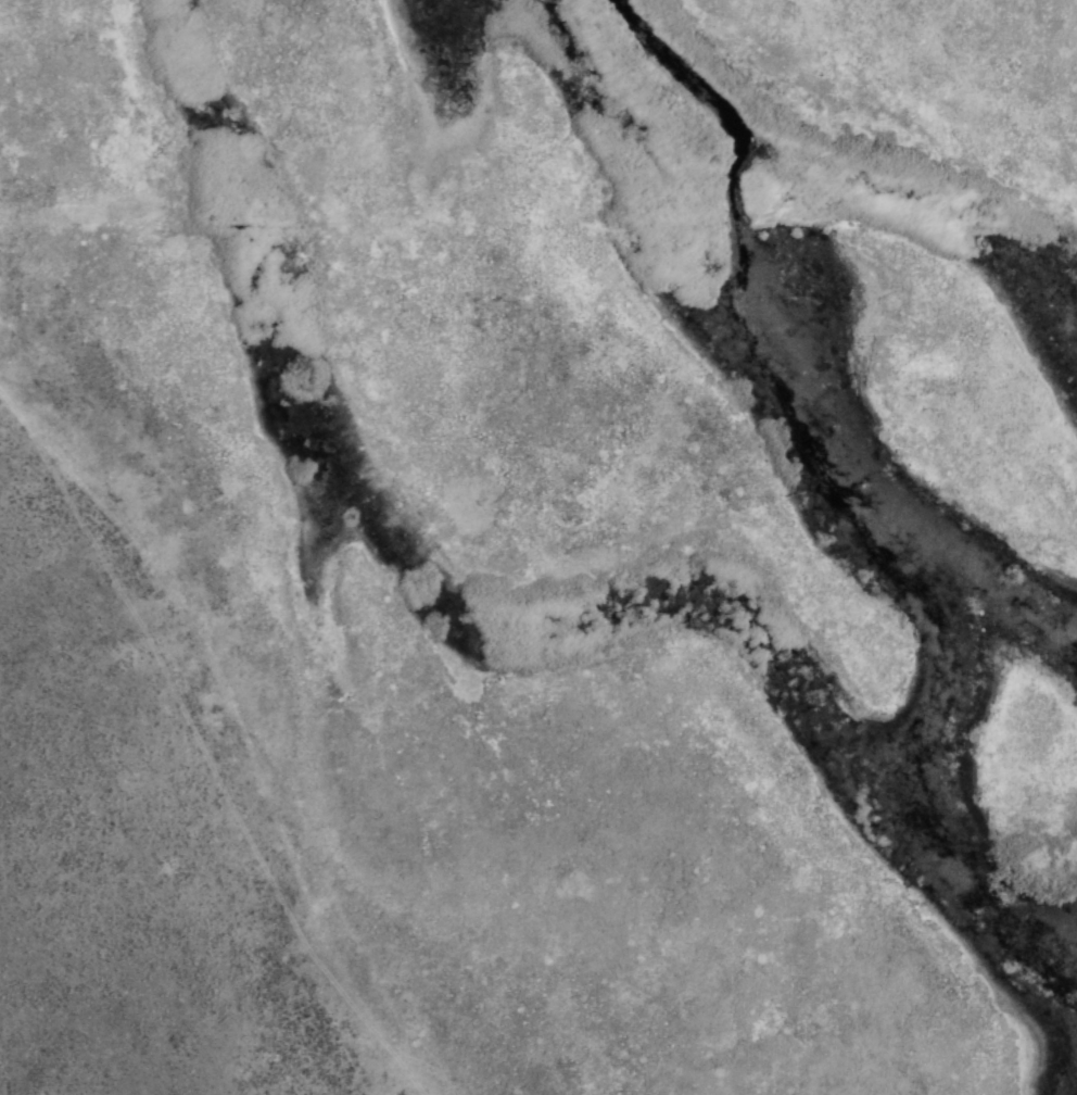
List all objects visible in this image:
crop: (538, 547)

